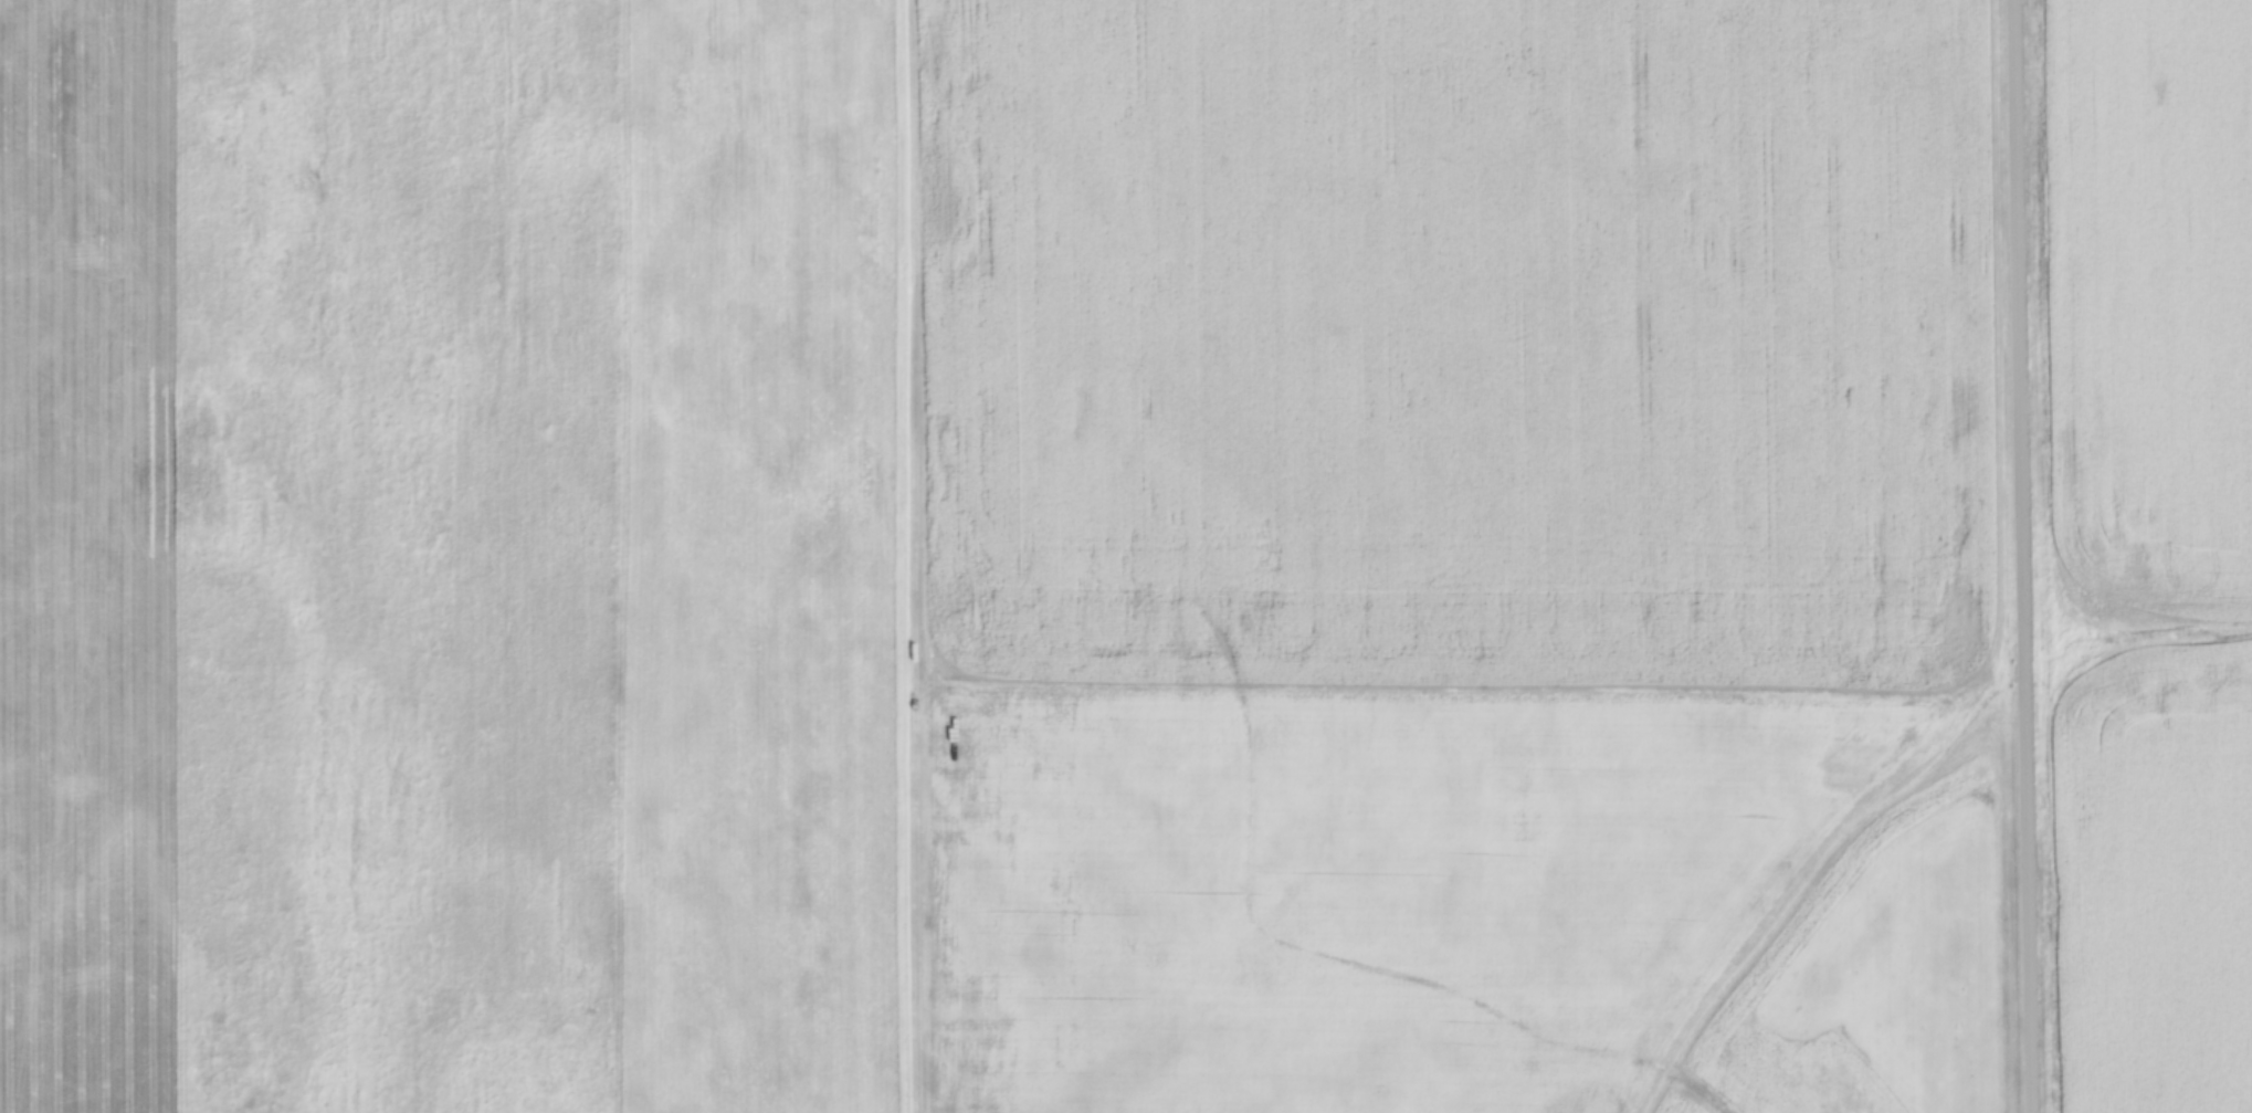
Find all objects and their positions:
road: (2018, 556)

